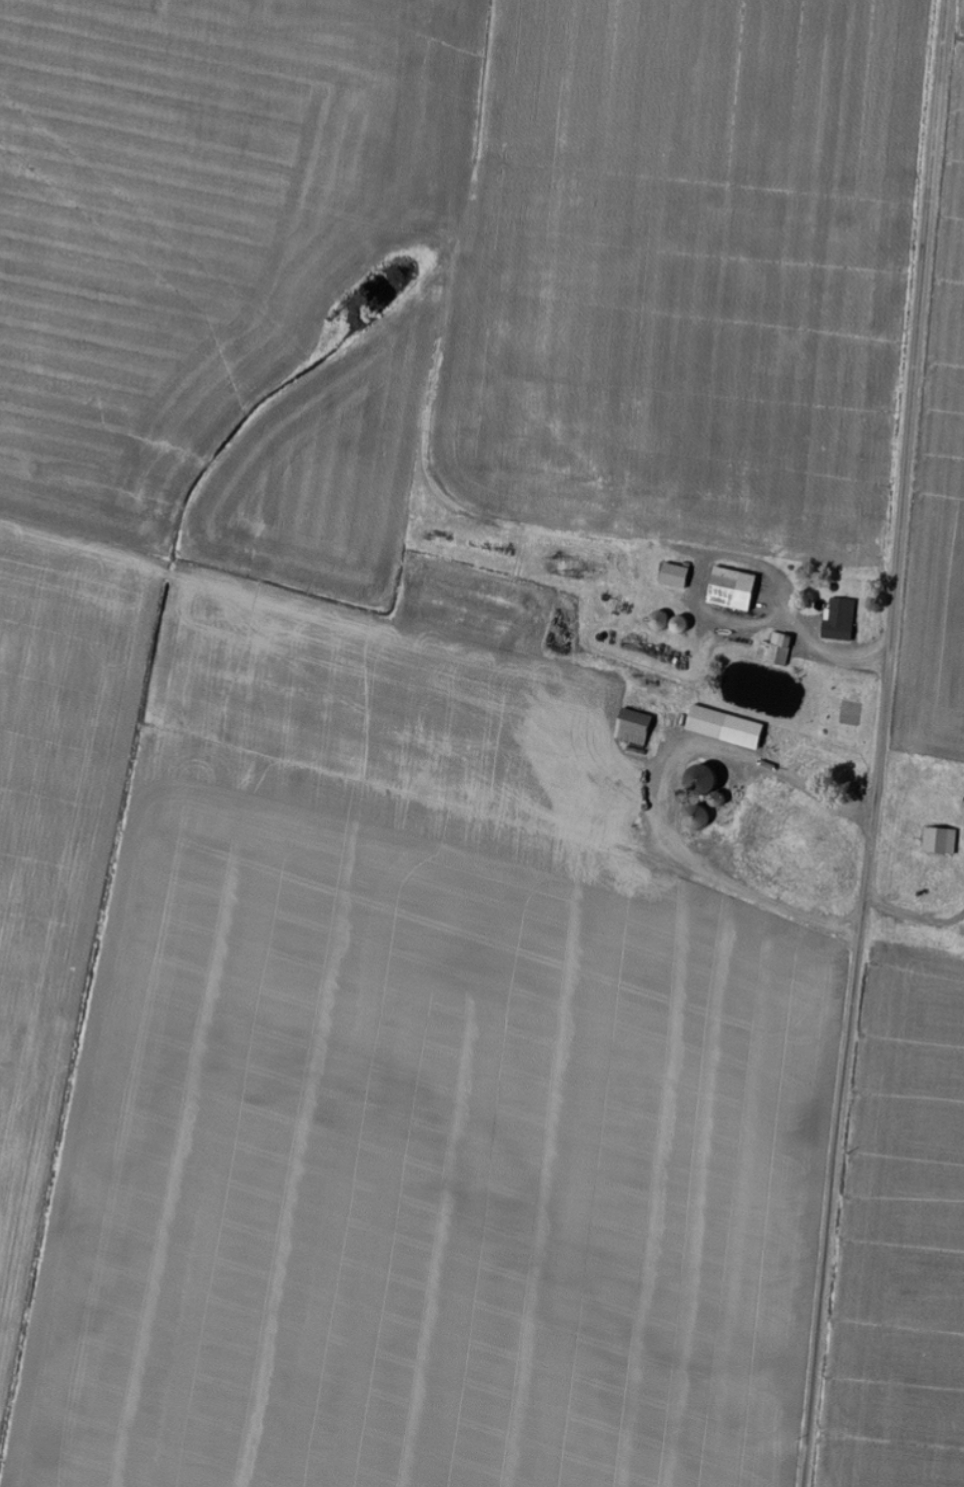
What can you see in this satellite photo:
building: (671, 576)
building: (728, 589)
building: (838, 620)
building: (774, 650)
building: (721, 728)
road: (883, 744)
building: (938, 842)

